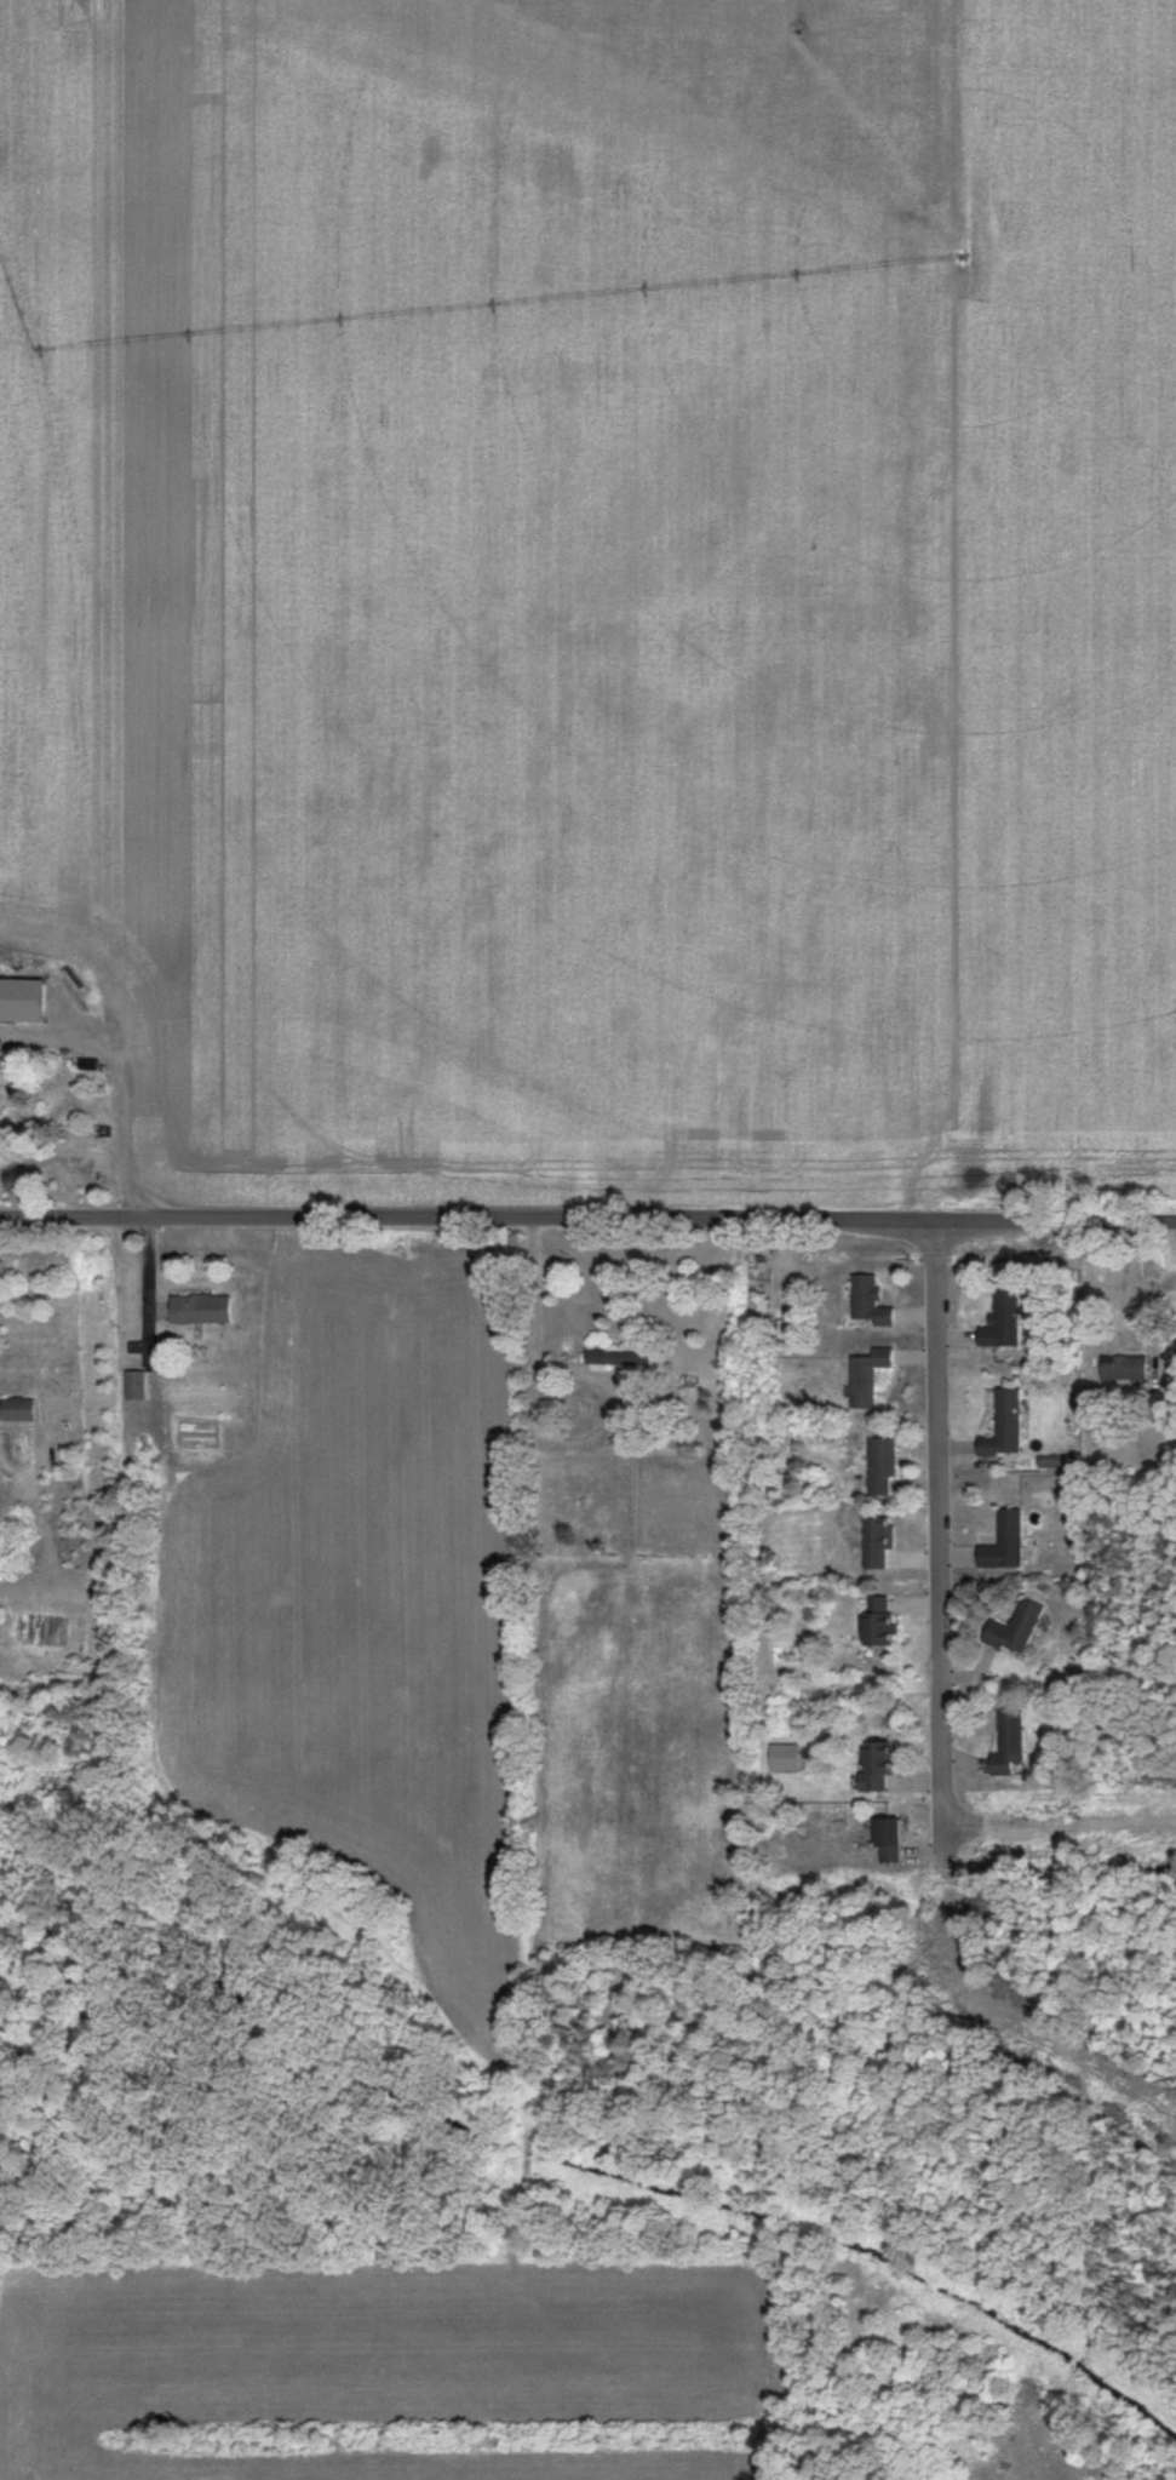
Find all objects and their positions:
road: (587, 1227)
building: (866, 1302)
building: (207, 1308)
building: (1000, 1322)
building: (1121, 1368)
building: (865, 1376)
road: (539, 1424)
building: (1002, 1425)
building: (885, 1464)
road: (934, 1531)
building: (1009, 1541)
building: (884, 1617)
building: (1020, 1627)
building: (1012, 1741)
building: (790, 1751)
building: (883, 1763)
building: (895, 1838)

